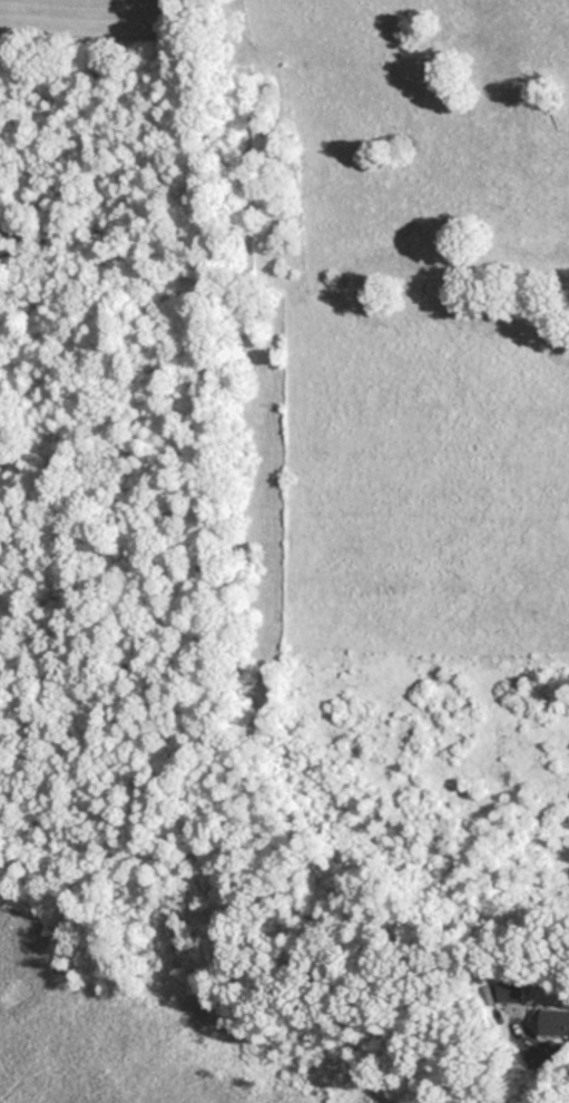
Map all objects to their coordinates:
building: (509, 992)
building: (552, 1021)
road: (550, 1045)

